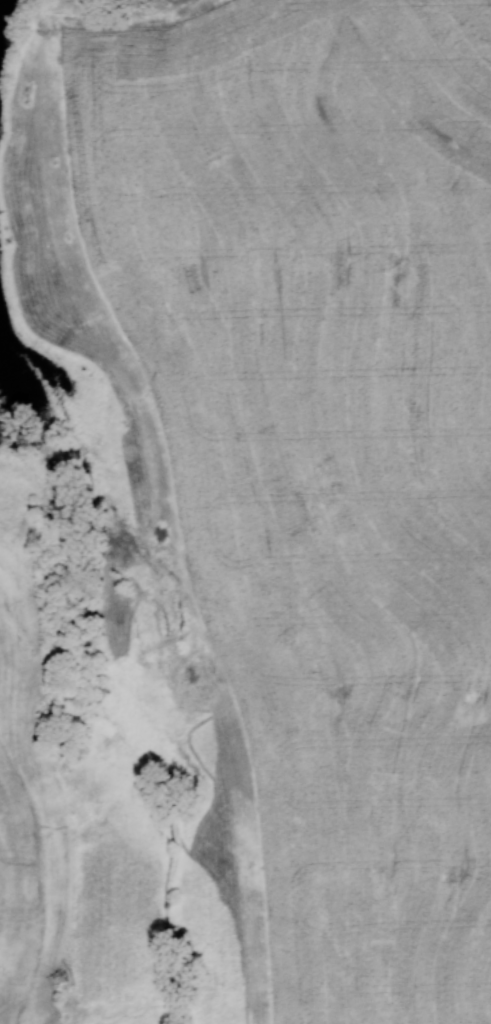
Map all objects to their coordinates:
power tower: (68, 985)

